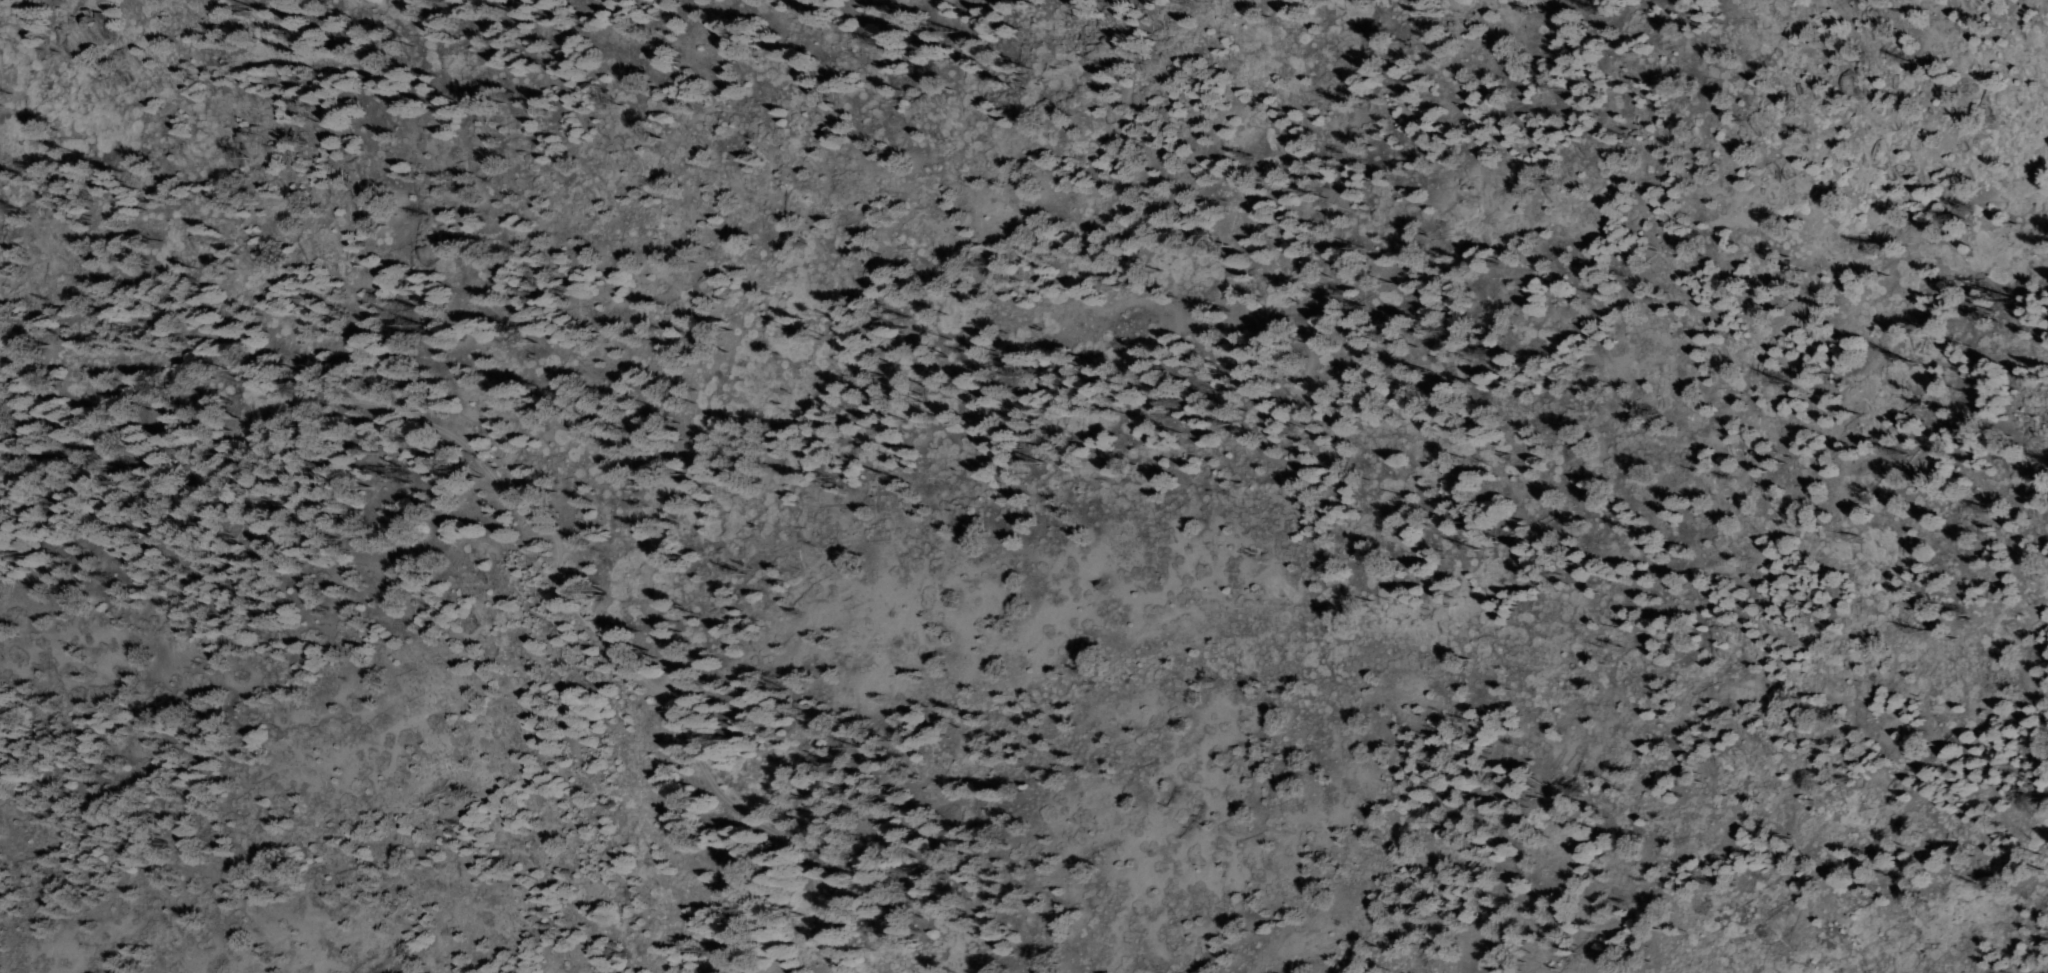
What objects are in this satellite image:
road: (530, 507)

